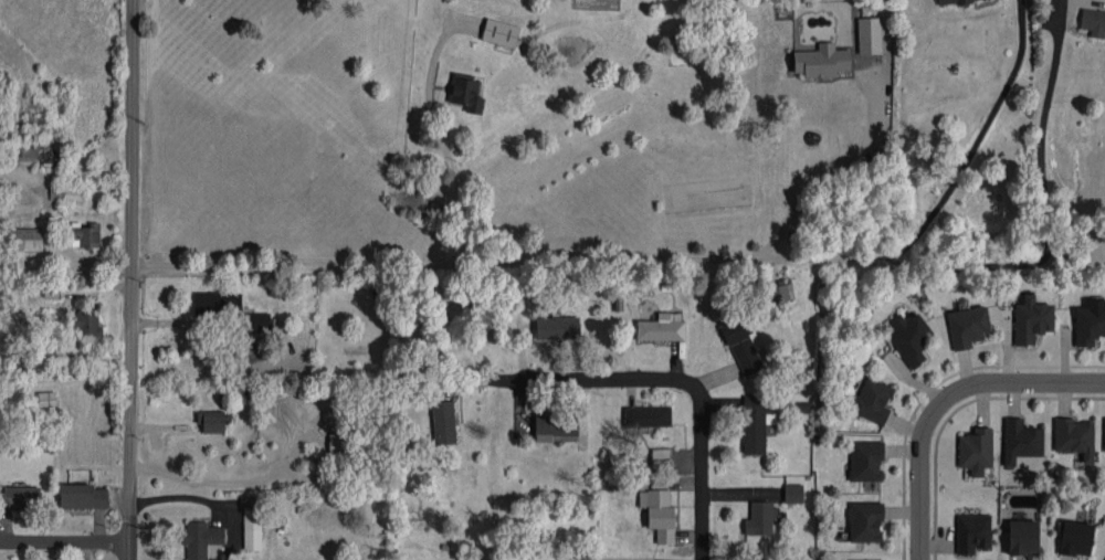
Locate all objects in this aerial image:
building: (949, 1)
building: (1093, 21)
building: (501, 32)
building: (869, 34)
building: (821, 60)
building: (466, 92)
road: (977, 141)
road: (445, 152)
road: (833, 169)
building: (65, 192)
building: (84, 235)
building: (27, 239)
road: (698, 255)
road: (131, 279)
building: (779, 293)
building: (218, 302)
building: (1031, 319)
building: (85, 320)
building: (256, 321)
building: (1090, 321)
building: (967, 326)
building: (557, 327)
building: (662, 327)
building: (909, 337)
building: (743, 346)
road: (683, 380)
building: (46, 398)
road: (940, 398)
building: (873, 399)
building: (648, 415)
building: (211, 420)
building: (756, 421)
building: (443, 422)
building: (555, 425)
building: (1104, 435)
building: (1074, 436)
building: (1021, 440)
building: (337, 444)
building: (976, 447)
building: (661, 457)
building: (865, 459)
road: (270, 479)
building: (792, 493)
building: (21, 496)
building: (82, 496)
road: (207, 500)
building: (659, 514)
building: (759, 518)
building: (865, 521)
building: (252, 528)
building: (972, 532)
building: (1023, 537)
building: (200, 538)
building: (1076, 538)
road: (65, 543)
building: (866, 559)

